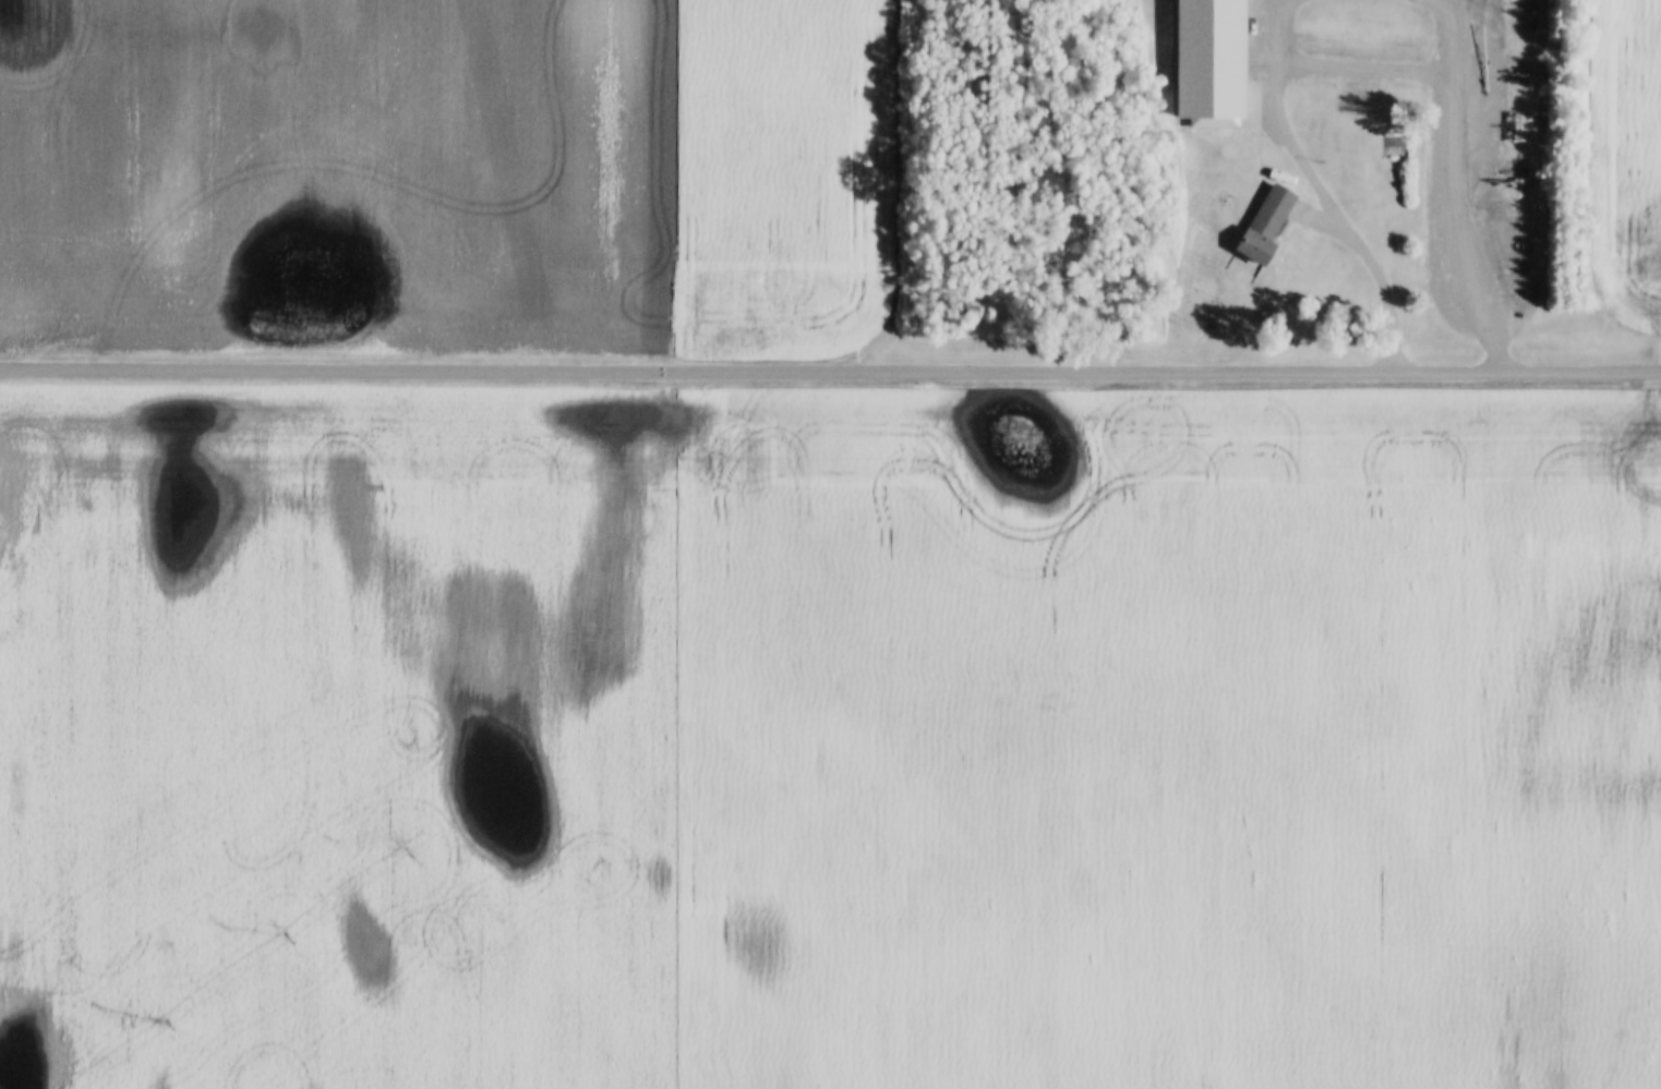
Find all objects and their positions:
road: (1478, 60)
road: (1313, 193)
building: (1266, 223)
road: (830, 373)

